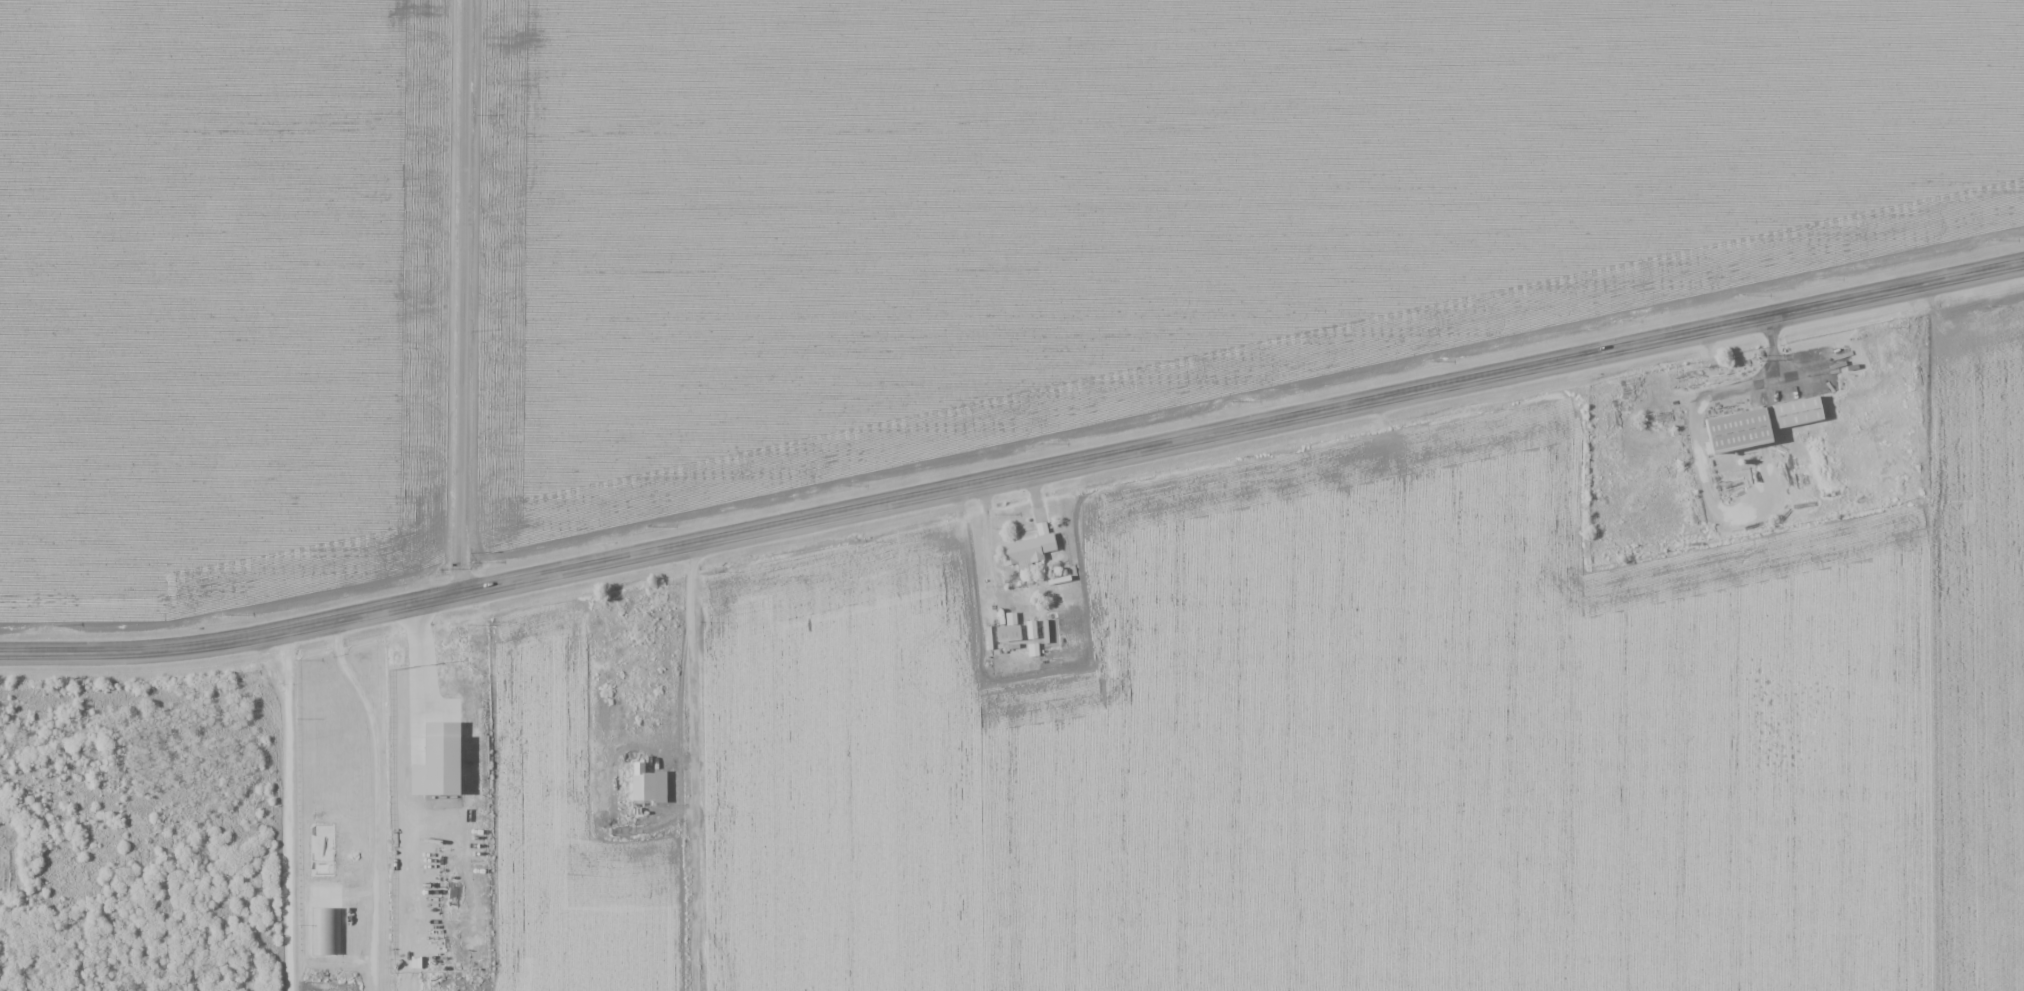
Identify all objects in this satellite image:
road: (466, 297)
building: (1757, 424)
road: (1014, 478)
building: (1026, 549)
building: (1030, 629)
building: (1007, 632)
building: (1033, 649)
road: (412, 714)
road: (288, 810)
building: (326, 930)

